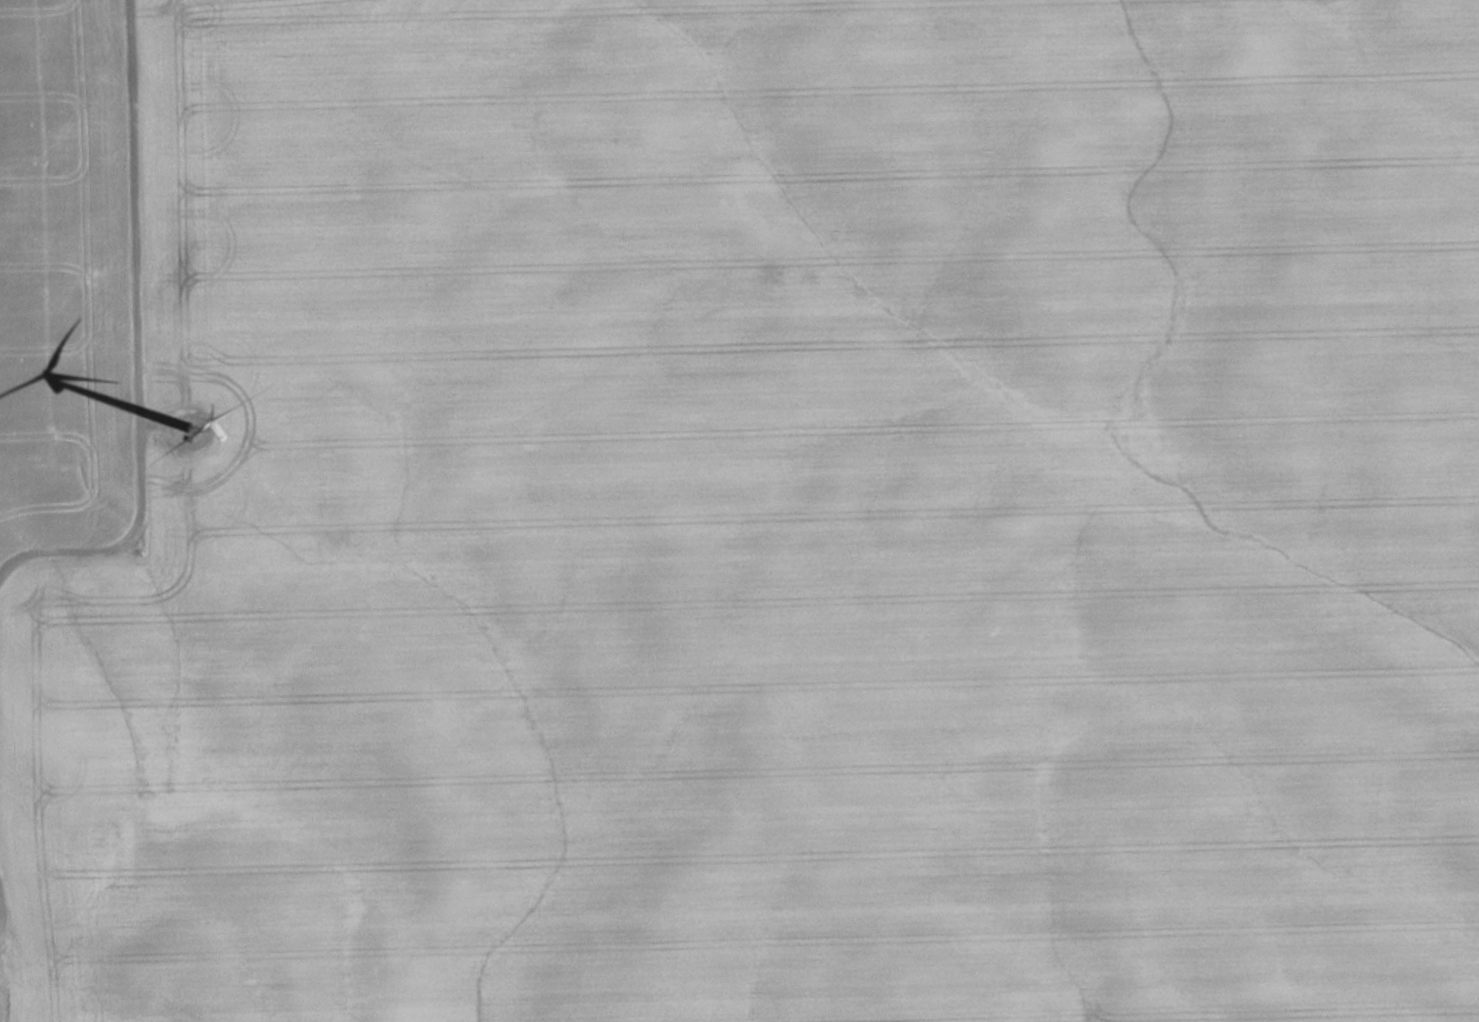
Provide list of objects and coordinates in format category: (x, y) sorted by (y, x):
wind turbine: (187, 426)
road: (137, 542)

